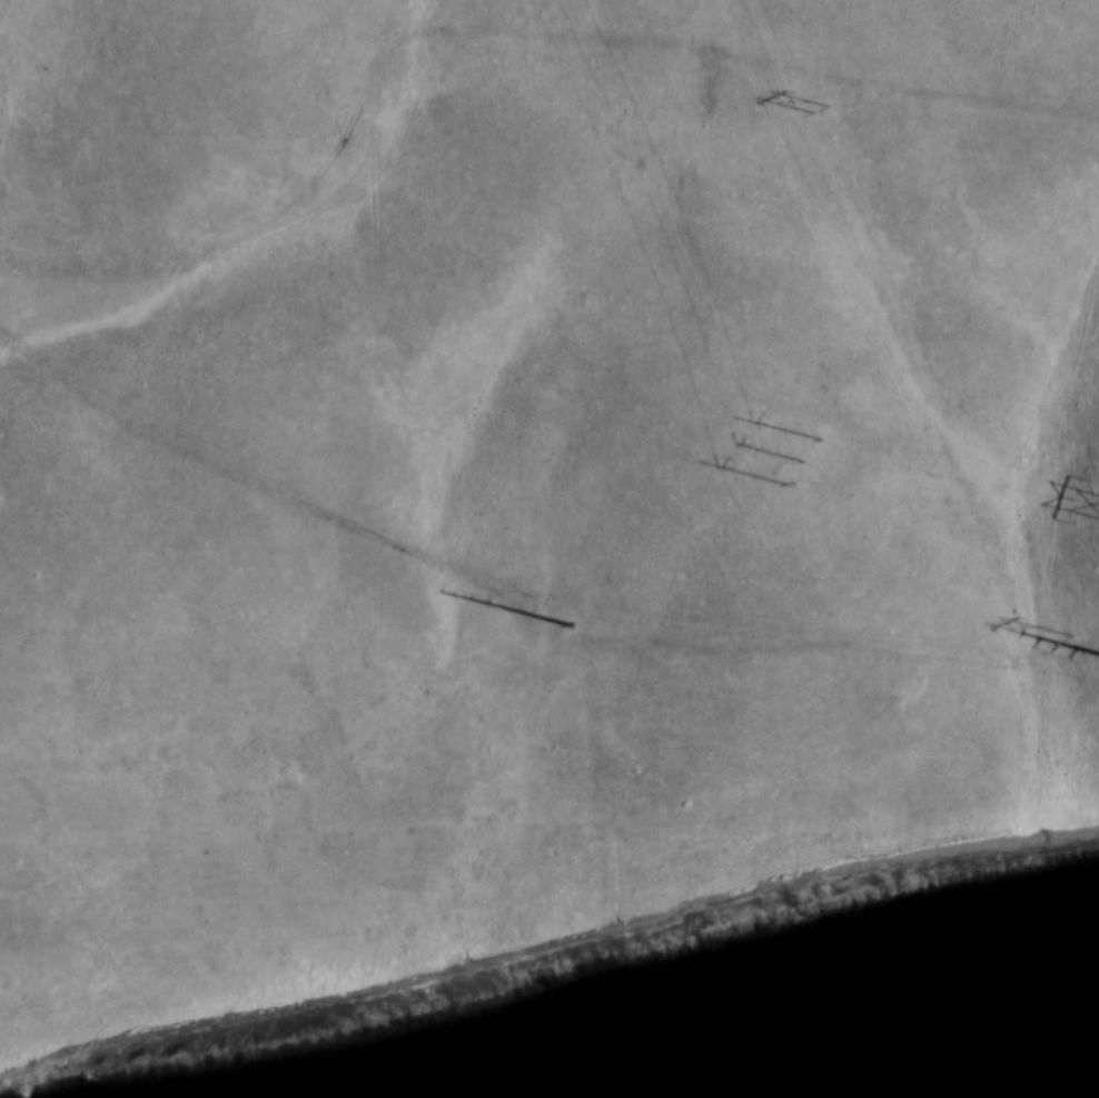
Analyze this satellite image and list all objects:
power tower: (819, 117)
power tower: (568, 631)
power tower: (1060, 649)

